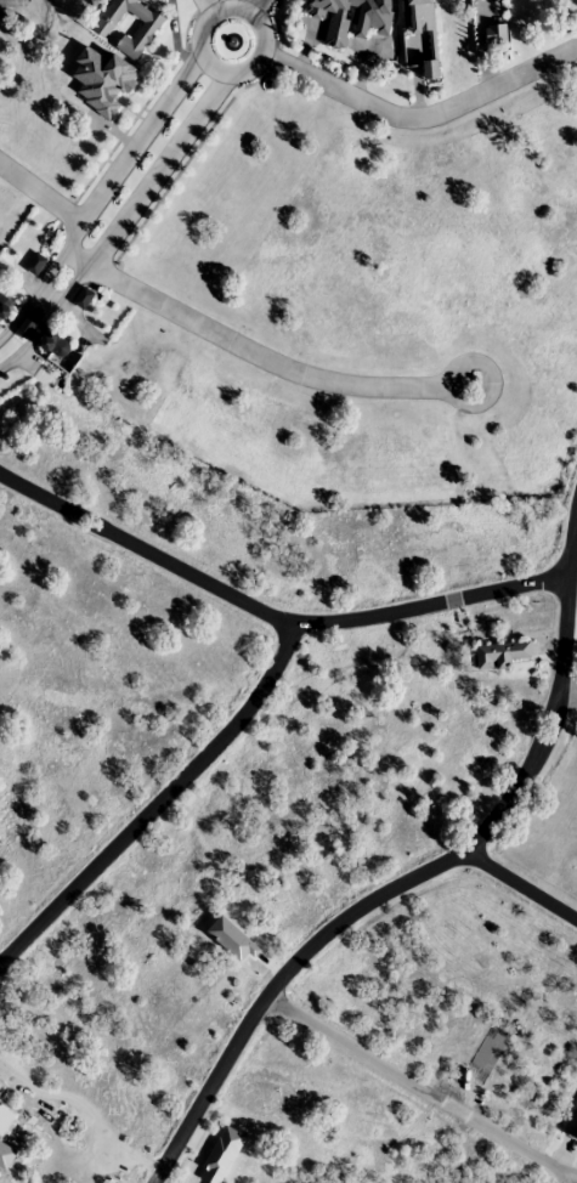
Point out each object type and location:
road: (238, 4)
road: (207, 5)
road: (259, 6)
building: (351, 18)
building: (142, 34)
building: (420, 34)
building: (496, 34)
road: (423, 117)
road: (137, 140)
road: (40, 193)
road: (132, 205)
road: (77, 259)
road: (50, 268)
road: (49, 298)
building: (2, 301)
road: (10, 327)
building: (57, 345)
road: (23, 355)
road: (272, 362)
road: (271, 615)
building: (503, 656)
road: (158, 802)
road: (419, 873)
road: (519, 887)
road: (422, 1088)
building: (572, 1126)

